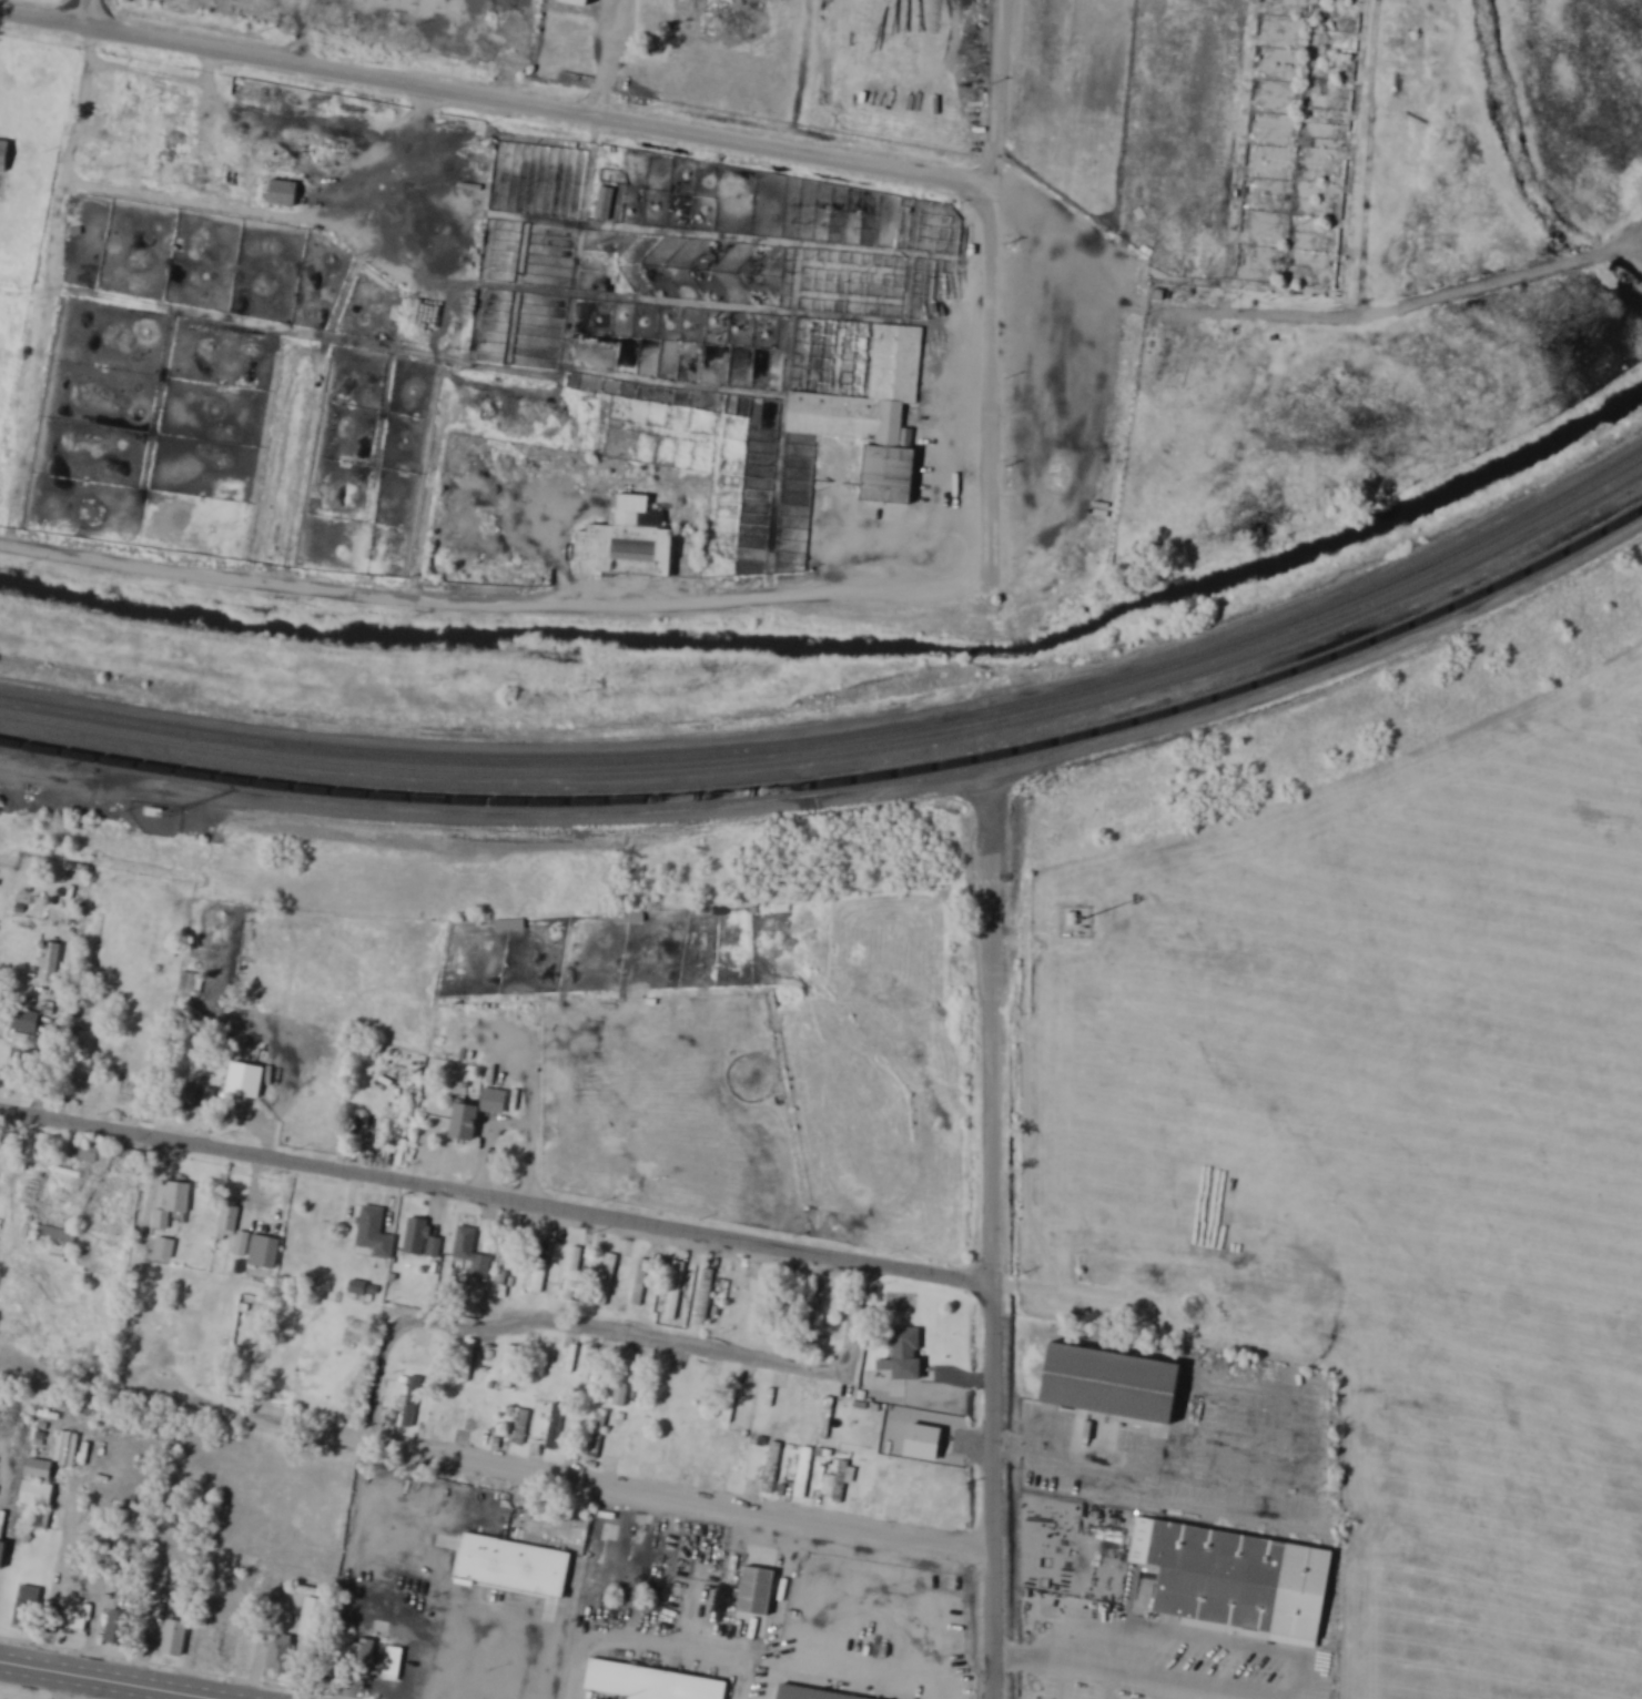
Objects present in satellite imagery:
road: (85, 11)
road: (42, 16)
road: (310, 31)
building: (1354, 40)
road: (519, 50)
road: (609, 58)
road: (1000, 102)
building: (125, 104)
road: (530, 104)
building: (183, 113)
building: (173, 145)
building: (4, 153)
building: (286, 194)
building: (606, 204)
building: (896, 358)
road: (989, 385)
building: (890, 476)
building: (630, 544)
road: (494, 599)
road: (1327, 671)
railway: (845, 741)
railway: (844, 752)
railway: (843, 782)
building: (511, 926)
building: (52, 962)
building: (190, 983)
building: (28, 1022)
building: (20, 1065)
building: (479, 1114)
building: (85, 1153)
road: (497, 1196)
building: (175, 1204)
building: (230, 1223)
building: (375, 1235)
road: (996, 1237)
building: (59, 1240)
building: (423, 1240)
building: (243, 1244)
building: (166, 1248)
building: (265, 1251)
building: (472, 1254)
building: (507, 1261)
building: (239, 1267)
building: (544, 1273)
building: (574, 1273)
building: (608, 1282)
building: (641, 1284)
building: (365, 1288)
building: (677, 1293)
building: (707, 1298)
building: (772, 1317)
road: (620, 1327)
building: (473, 1348)
building: (910, 1355)
building: (590, 1367)
building: (547, 1372)
building: (1109, 1383)
building: (413, 1403)
building: (731, 1403)
building: (795, 1412)
building: (449, 1414)
building: (827, 1418)
building: (556, 1427)
building: (523, 1428)
building: (597, 1437)
building: (631, 1443)
building: (925, 1443)
building: (673, 1448)
building: (739, 1465)
building: (773, 1469)
building: (804, 1473)
road: (574, 1476)
building: (840, 1483)
building: (880, 1486)
building: (916, 1493)
building: (45, 1496)
building: (955, 1498)
building: (1, 1548)
building: (514, 1563)
building: (1233, 1577)
building: (757, 1590)
building: (30, 1607)
road: (54, 1614)
building: (315, 1618)
road: (1137, 1626)
building: (121, 1628)
building: (178, 1639)
building: (231, 1645)
building: (363, 1652)
building: (277, 1654)
road: (1057, 1660)
building: (395, 1666)
road: (101, 1681)
building: (649, 1682)
building: (809, 1693)

